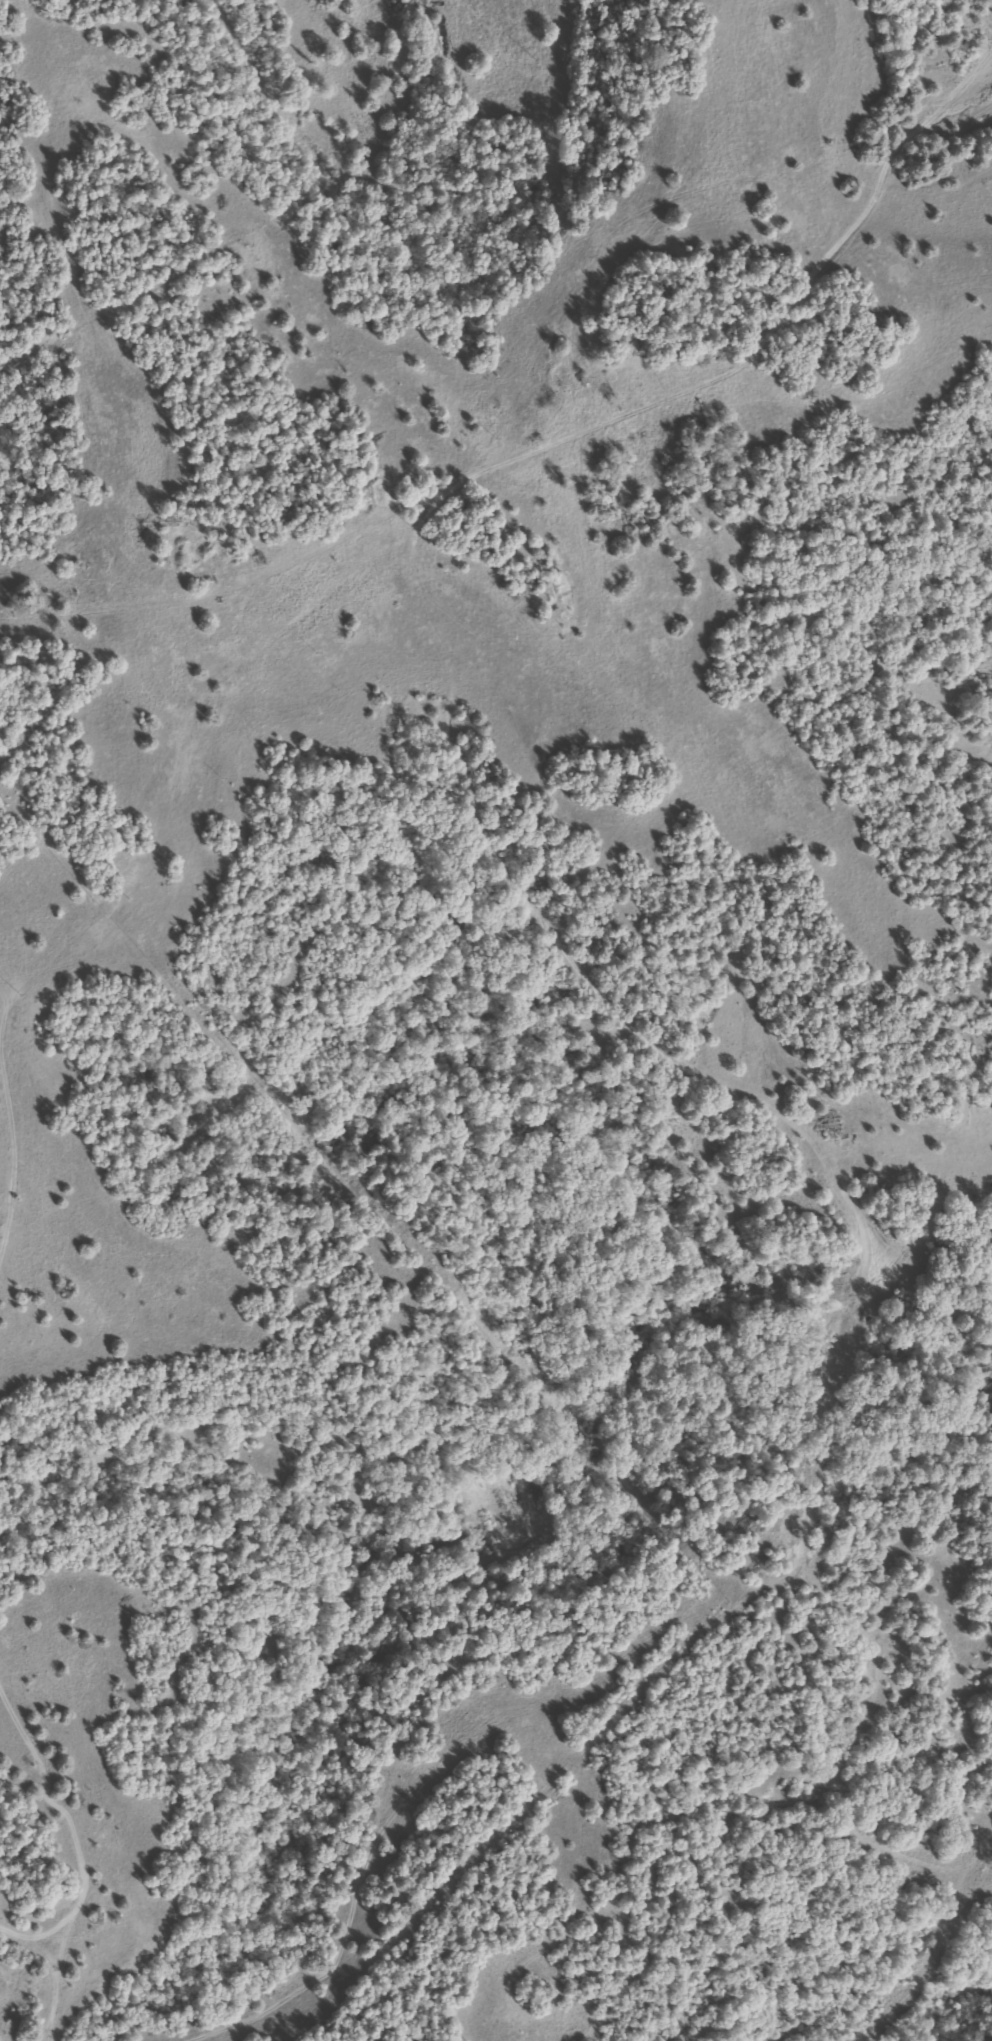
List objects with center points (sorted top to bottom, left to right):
road: (159, 876)
road: (0, 1798)

